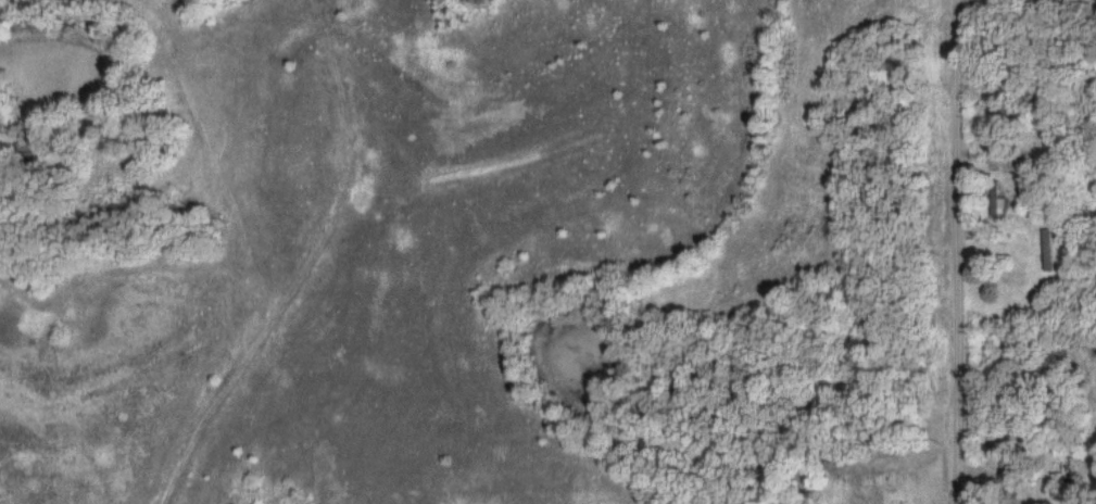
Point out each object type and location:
building: (996, 199)
building: (1047, 248)
road: (957, 251)
park: (879, 462)

